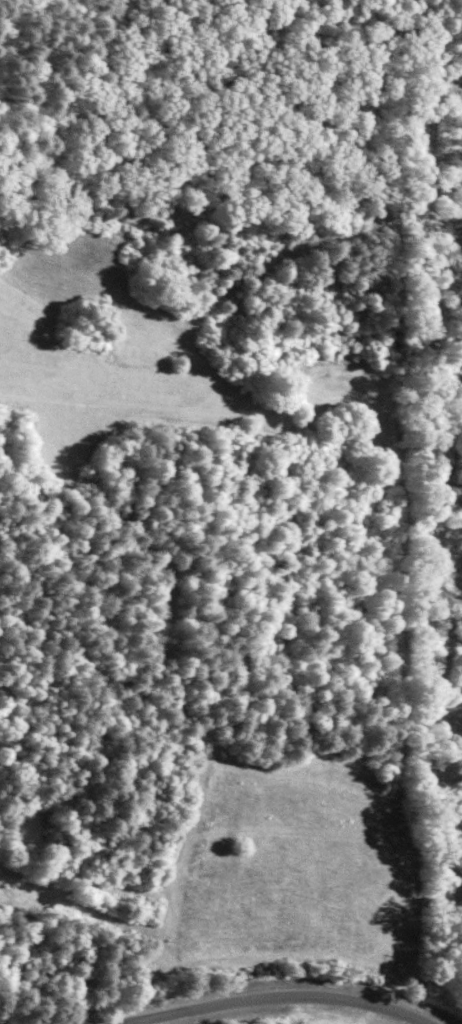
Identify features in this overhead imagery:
road: (271, 998)

